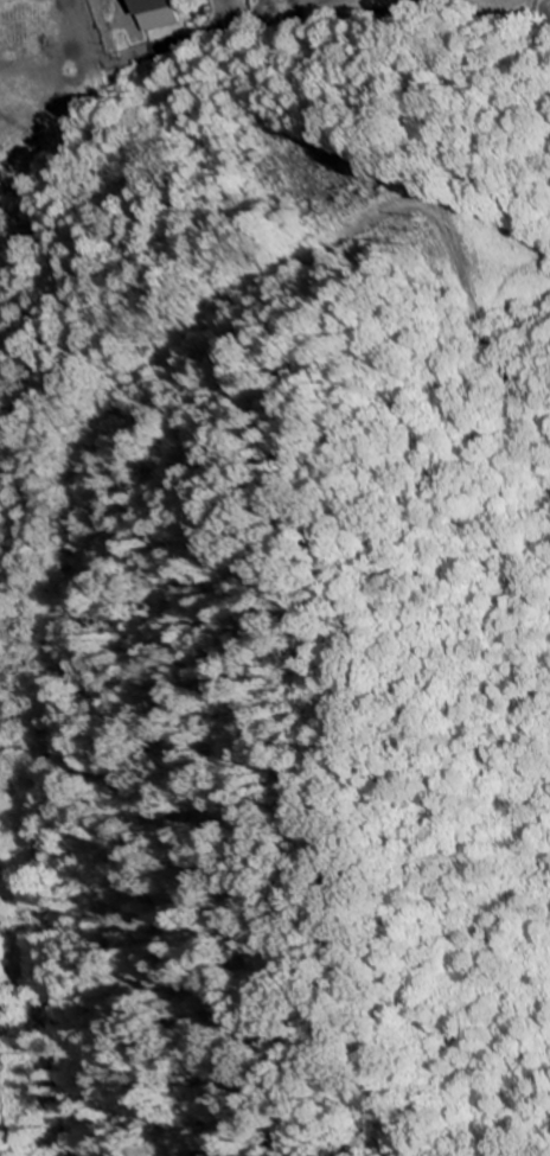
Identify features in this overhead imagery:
building: (155, 13)

